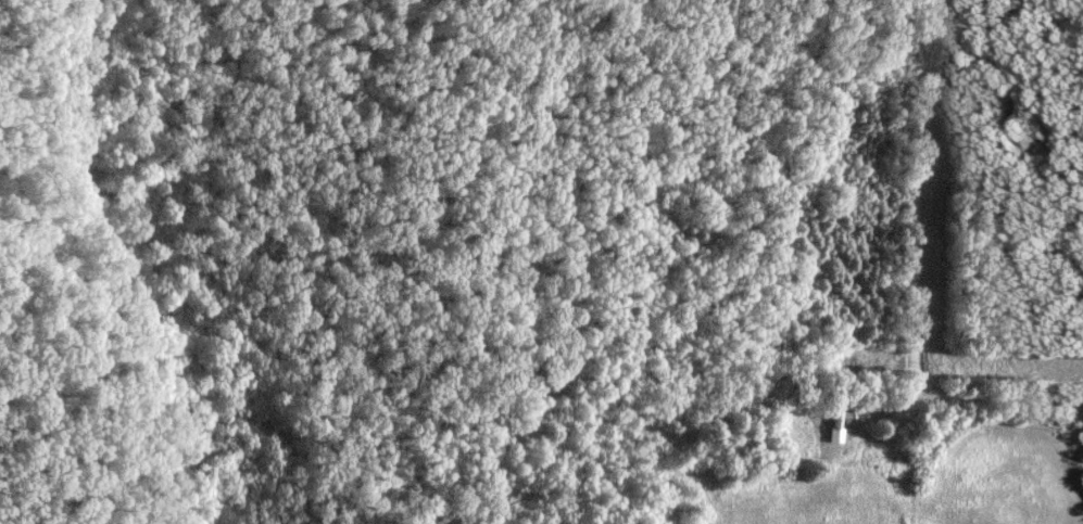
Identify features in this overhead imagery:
road: (918, 276)

